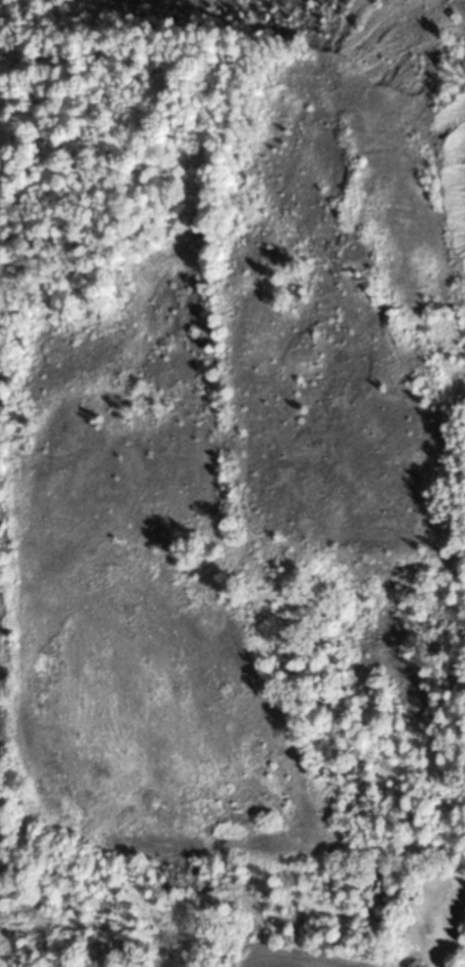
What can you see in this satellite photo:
quarry: (240, 421)

